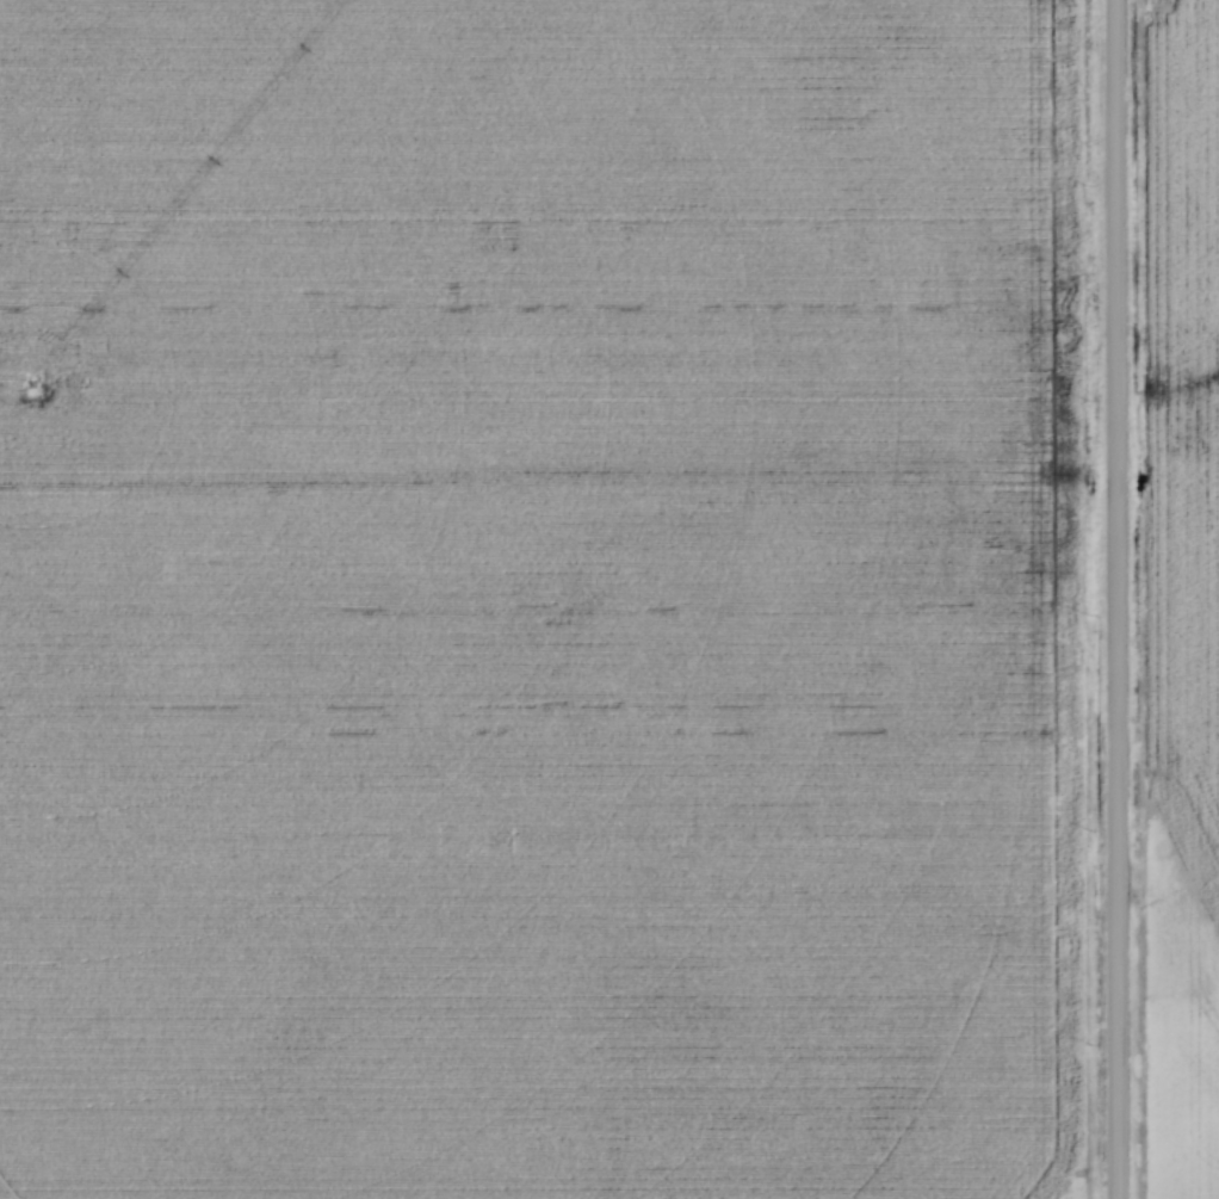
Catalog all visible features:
road: (1109, 599)

